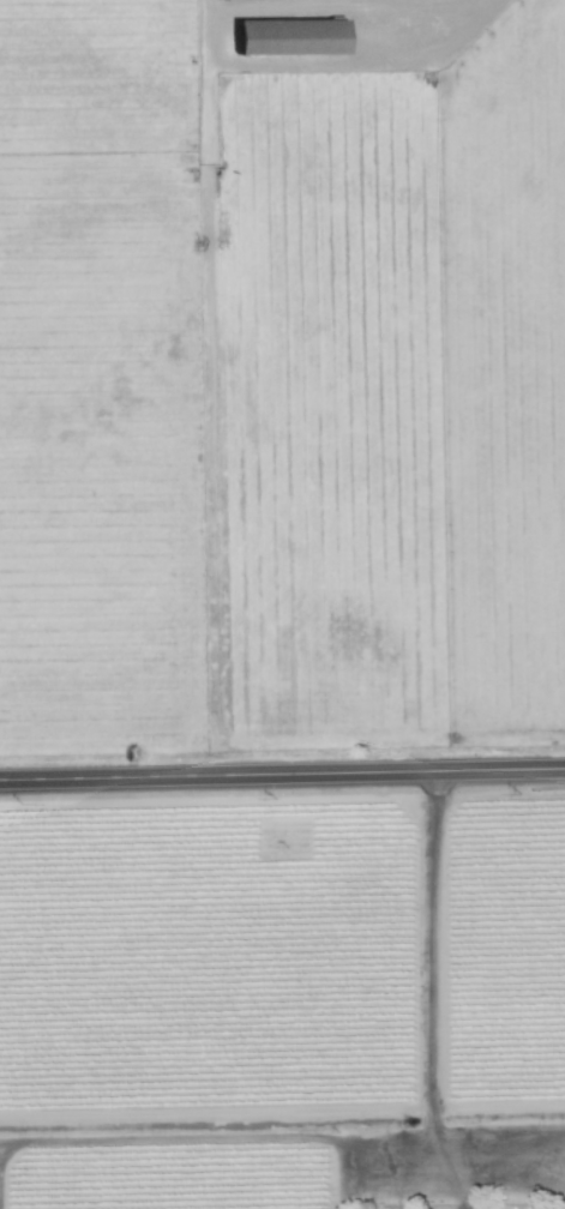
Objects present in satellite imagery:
road: (386, 1)
road: (383, 31)
building: (295, 35)
road: (262, 64)
road: (282, 775)
road: (386, 1114)
road: (282, 1135)
road: (446, 1162)

